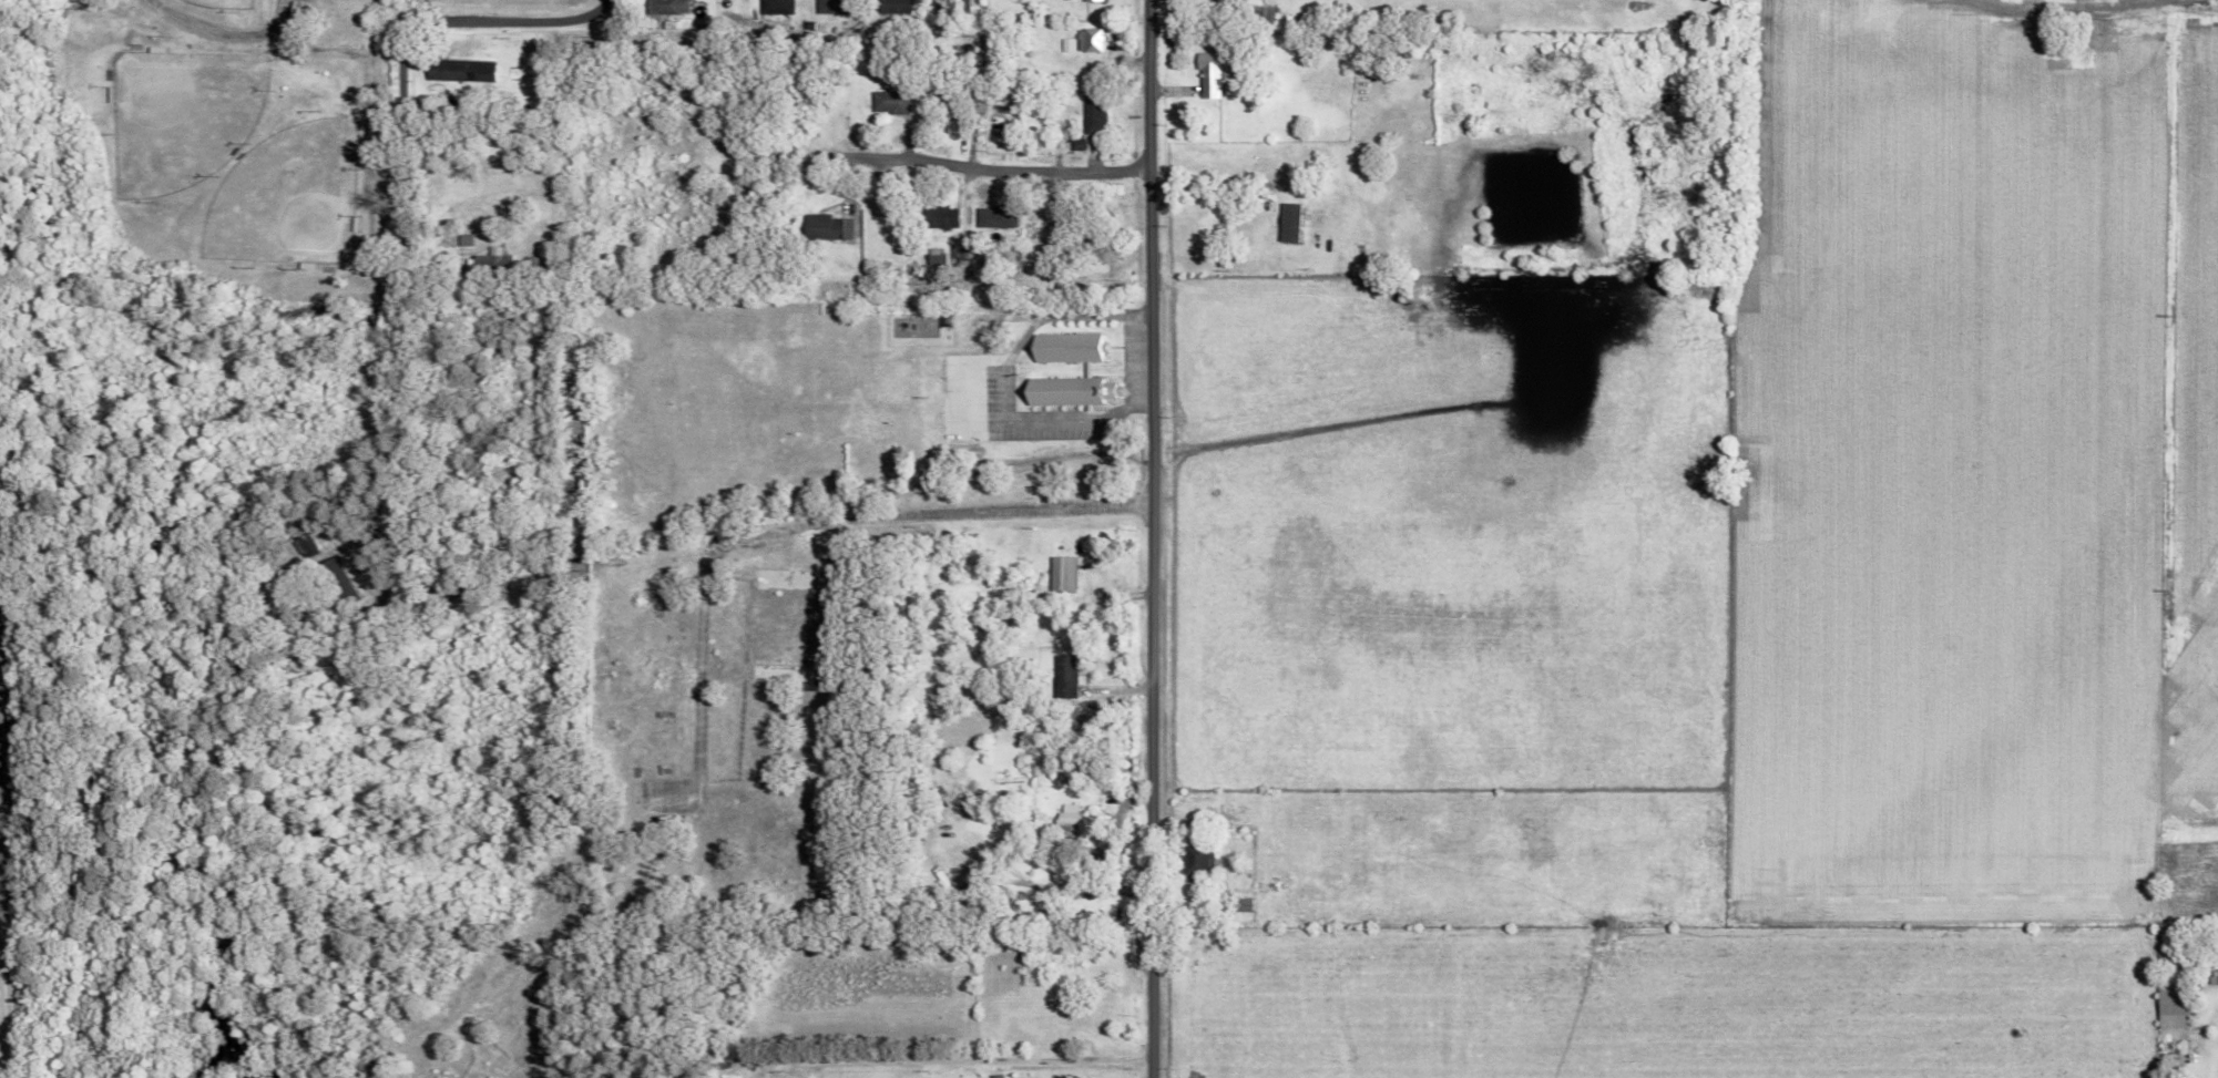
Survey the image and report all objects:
building: (1092, 0)
park: (232, 3)
building: (895, 6)
building: (776, 7)
building: (831, 7)
building: (952, 7)
building: (668, 8)
road: (224, 30)
building: (1091, 40)
building: (1067, 44)
building: (458, 71)
building: (1209, 74)
building: (889, 102)
building: (1094, 113)
road: (878, 162)
road: (403, 164)
road: (1047, 170)
building: (991, 217)
building: (938, 218)
building: (824, 227)
building: (933, 257)
building: (490, 260)
building: (1064, 348)
building: (1065, 391)
road: (801, 534)
road: (1155, 538)
building: (1059, 573)
road: (1070, 626)
building: (1062, 676)
road: (952, 721)
building: (1079, 821)
building: (1197, 863)
building: (1240, 904)
building: (2169, 1008)
road: (965, 1061)

